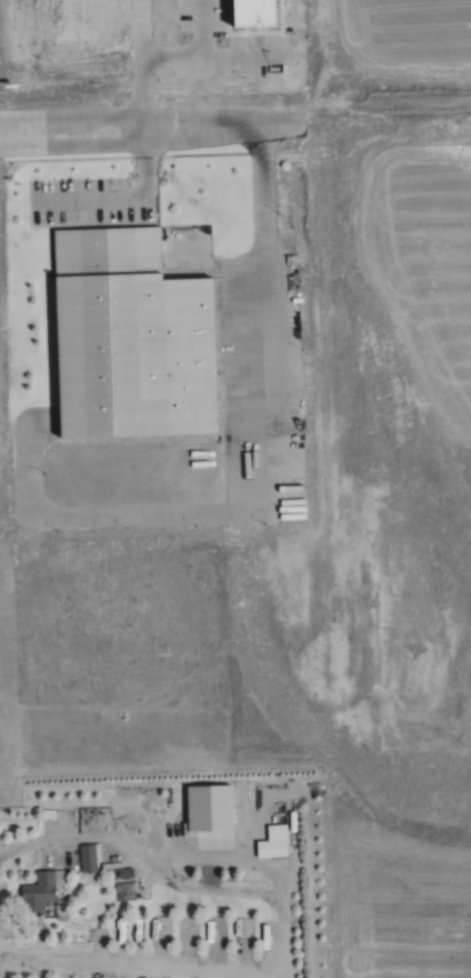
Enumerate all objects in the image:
road: (73, 119)
road: (240, 124)
road: (75, 147)
building: (138, 340)
building: (50, 814)
building: (123, 814)
building: (277, 840)
building: (88, 858)
building: (42, 890)
building: (125, 891)
road: (139, 964)

